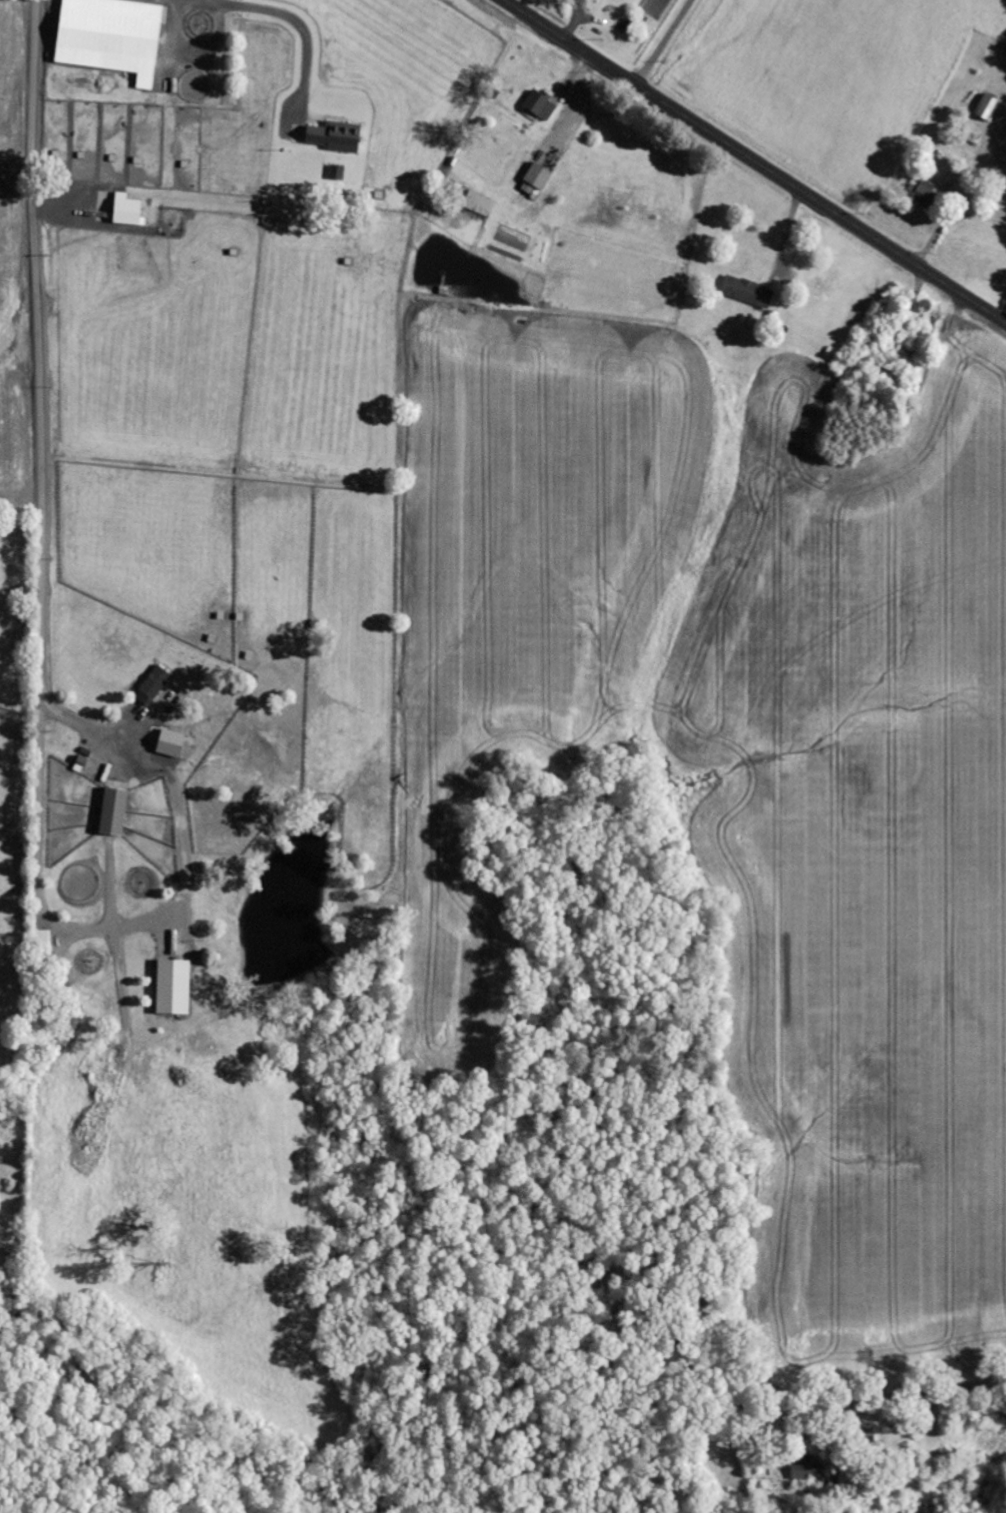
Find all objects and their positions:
building: (114, 37)
road: (676, 45)
building: (542, 106)
building: (989, 107)
building: (338, 137)
road: (755, 160)
building: (539, 177)
building: (924, 195)
building: (479, 204)
building: (130, 211)
building: (749, 292)
road: (39, 457)
building: (156, 684)
building: (175, 744)
building: (117, 812)
building: (43, 936)
building: (177, 987)
road: (907, 1394)
building: (805, 1469)

